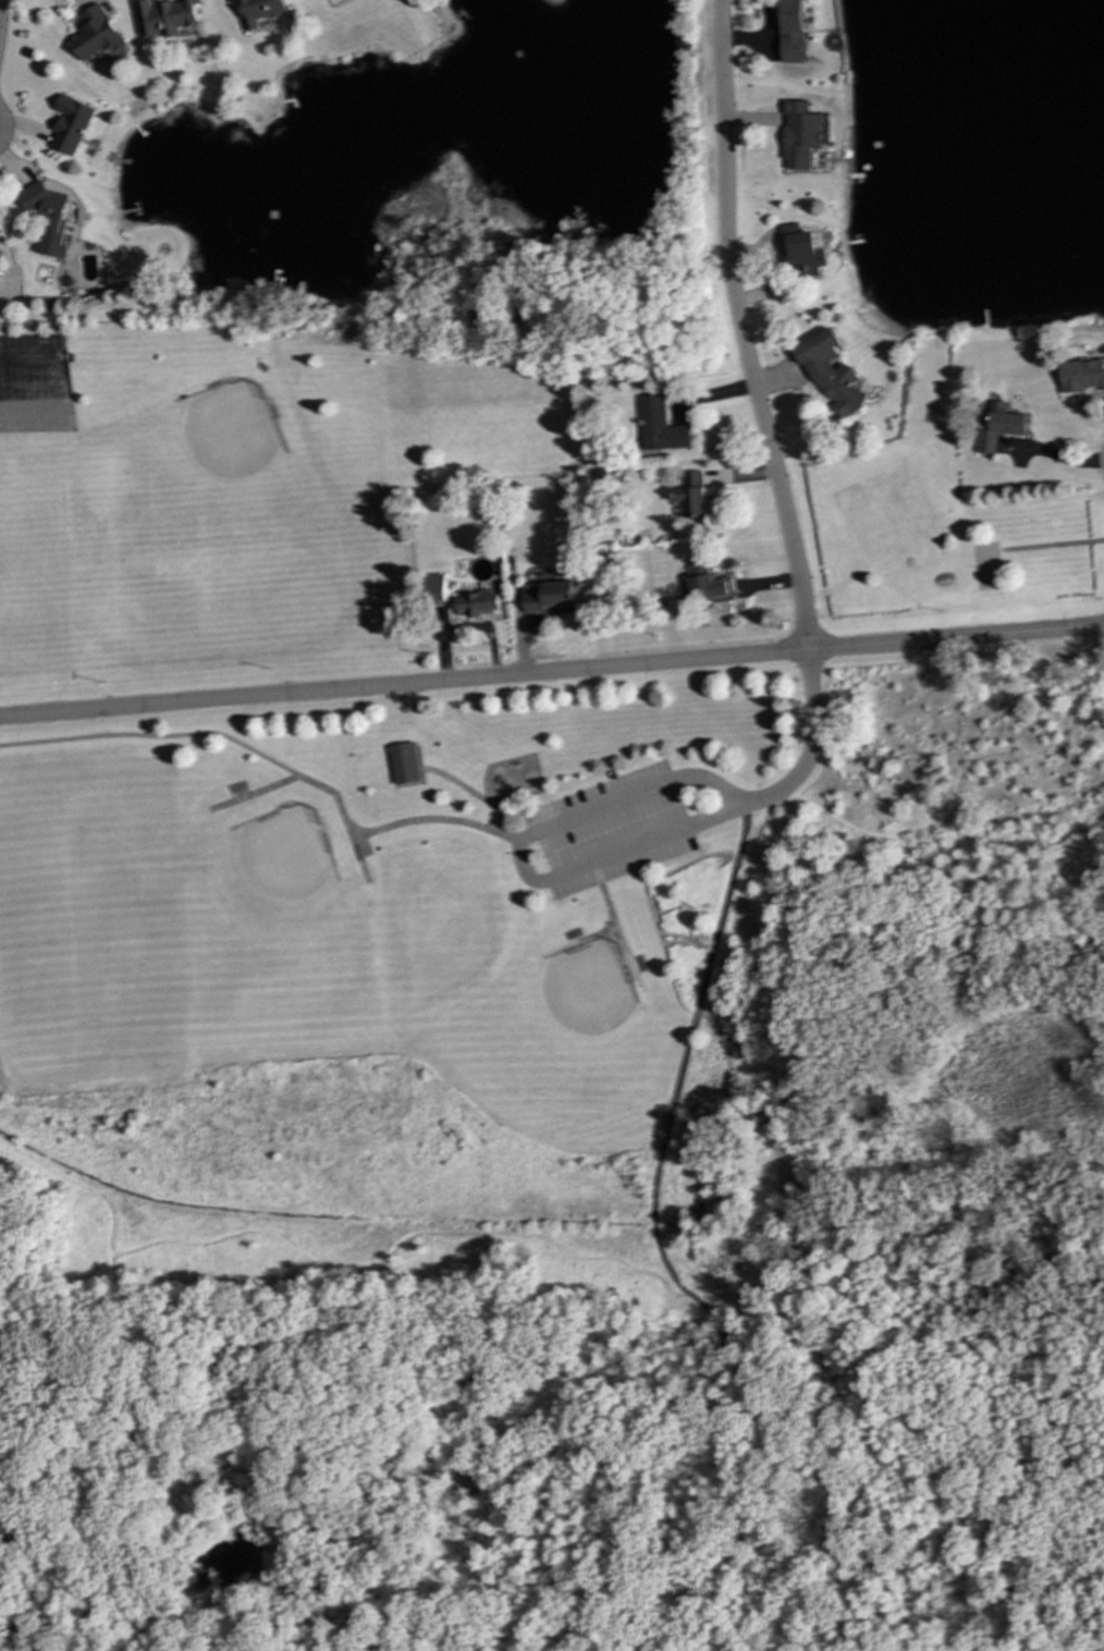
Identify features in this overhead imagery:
road: (0, 1)
building: (165, 16)
building: (788, 32)
building: (95, 35)
building: (70, 124)
building: (794, 134)
building: (47, 218)
building: (795, 252)
road: (737, 328)
building: (829, 375)
building: (1079, 375)
road: (56, 382)
parking lot: (34, 384)
building: (659, 427)
building: (995, 427)
park: (217, 464)
building: (690, 494)
park: (903, 510)
park: (870, 526)
road: (1050, 543)
park: (984, 565)
building: (708, 584)
building: (549, 598)
building: (457, 600)
park: (35, 610)
road: (552, 672)
road: (152, 736)
building: (402, 763)
road: (252, 792)
road: (468, 792)
road: (391, 823)
parking lot: (606, 829)
road: (590, 861)
park: (85, 902)
park: (265, 910)
road: (613, 927)
park: (564, 1025)
park: (390, 1050)
road: (657, 1235)

